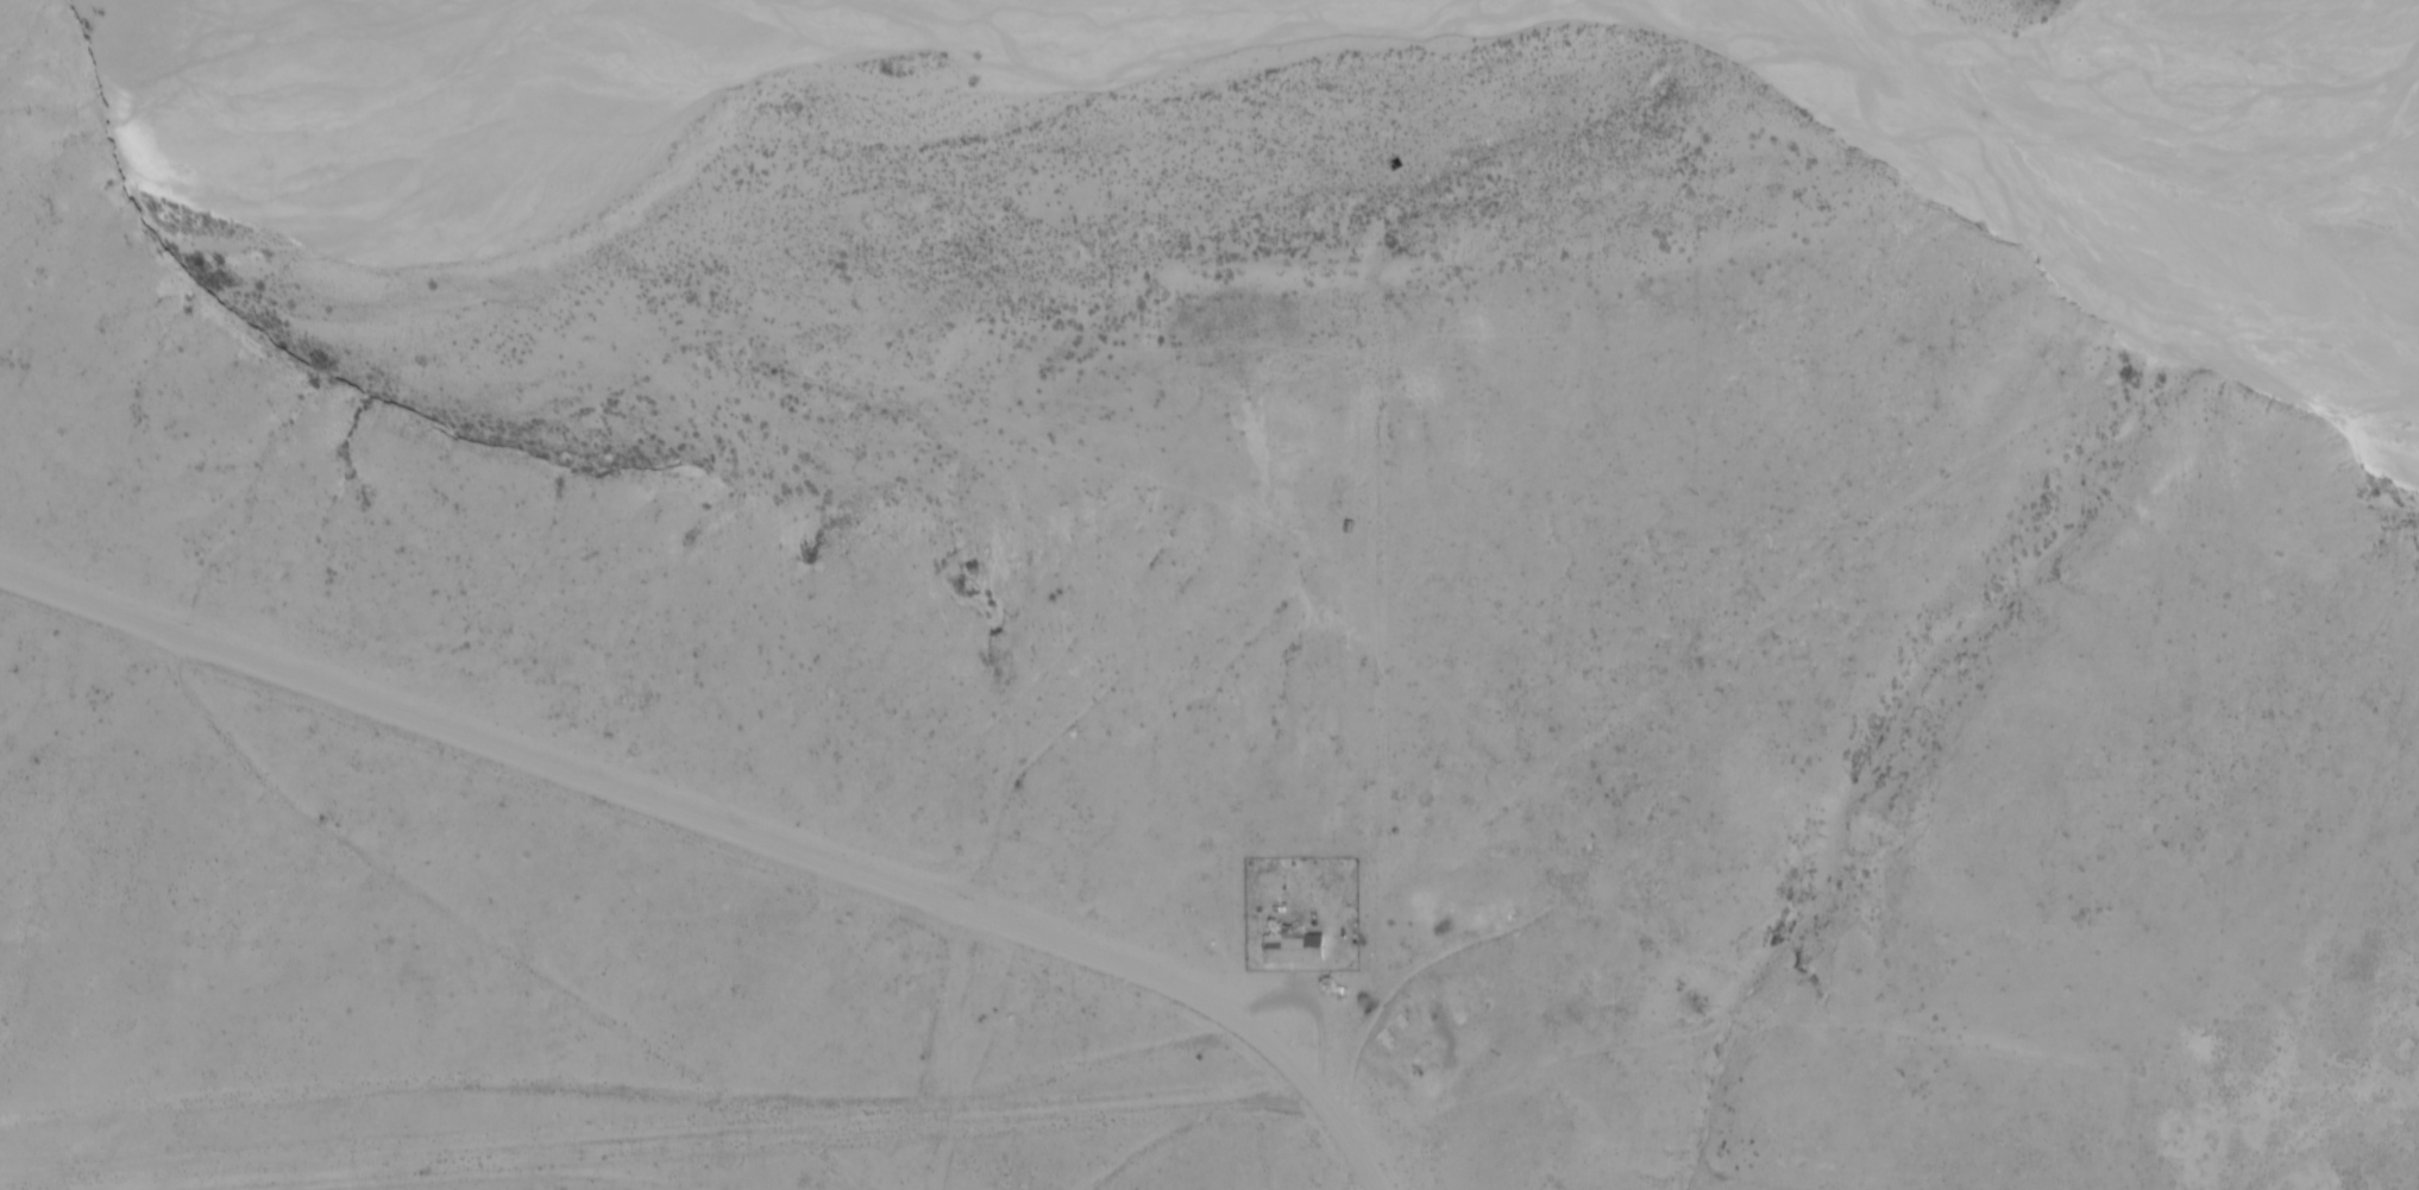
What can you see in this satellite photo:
river: (2044, 241)
river: (2285, 265)
road: (725, 827)
building: (1290, 949)
airport runway: (611, 1139)

